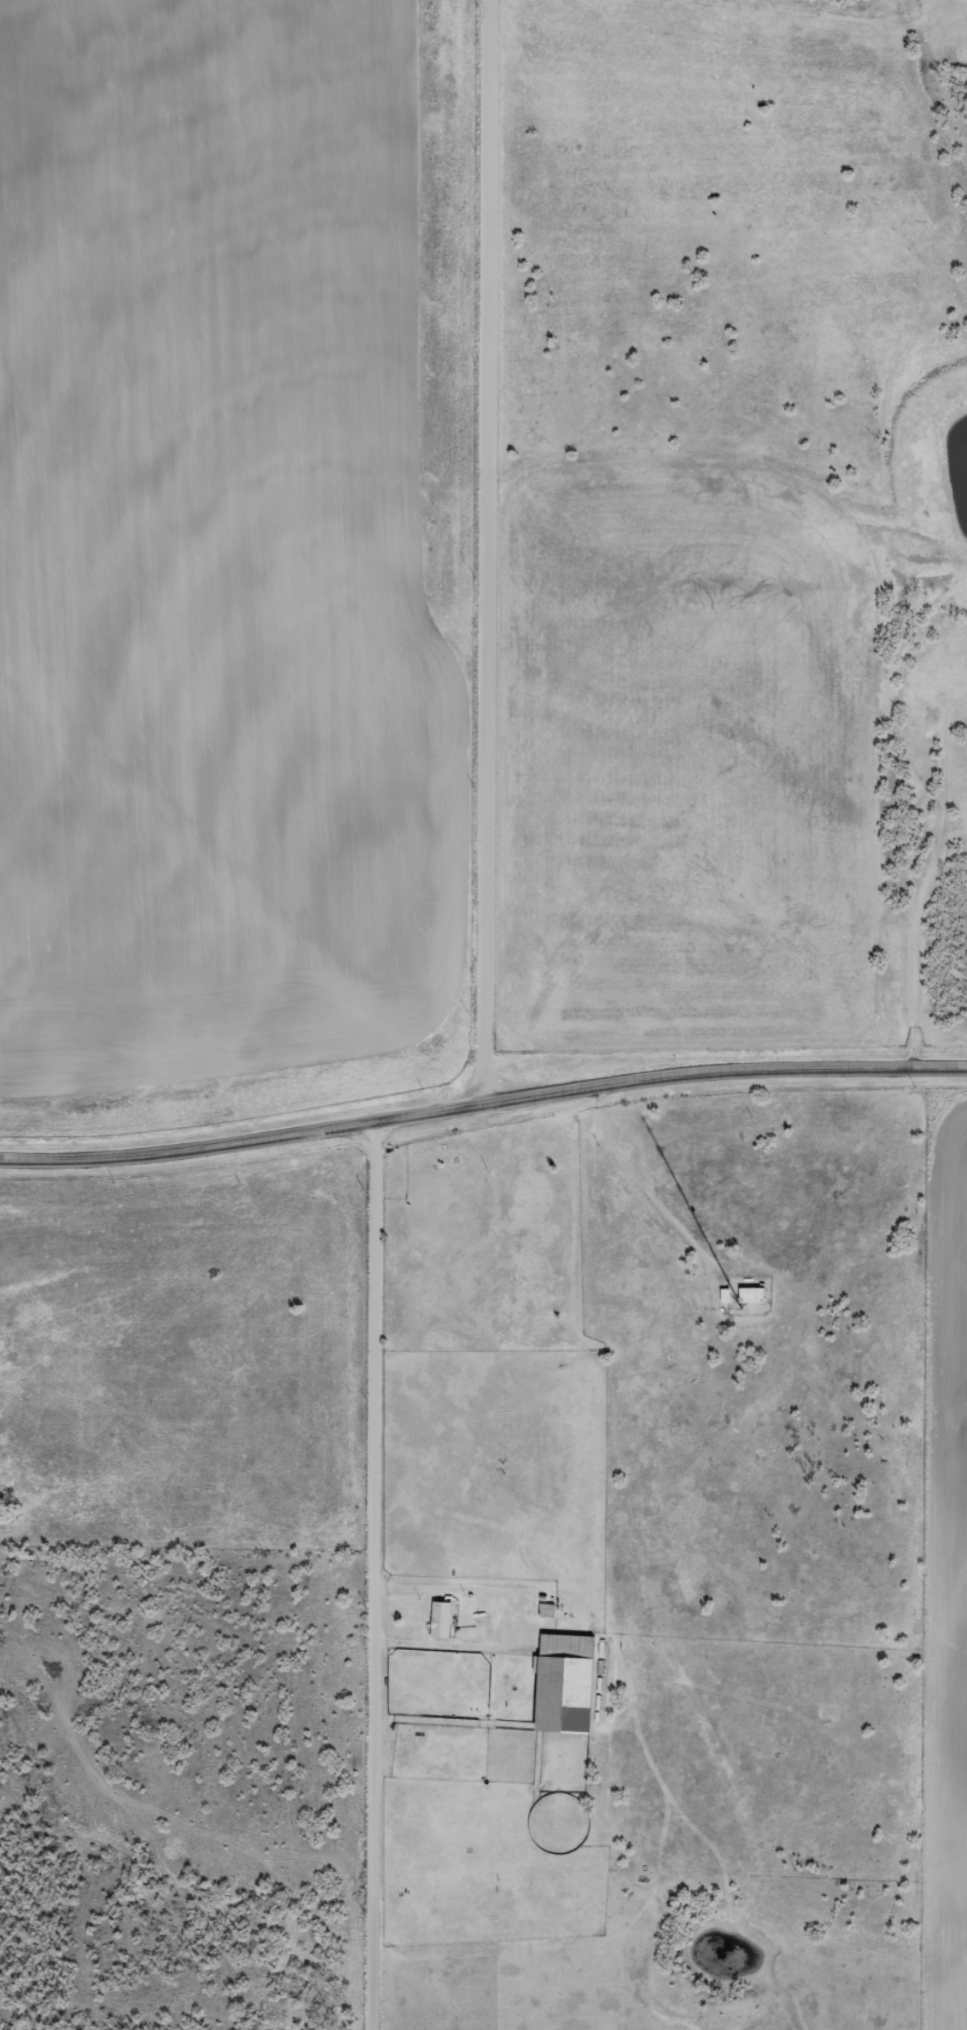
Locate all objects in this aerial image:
road: (489, 549)
road: (481, 1099)
building: (748, 1296)
road: (378, 1575)
building: (437, 1620)
building: (560, 1683)

